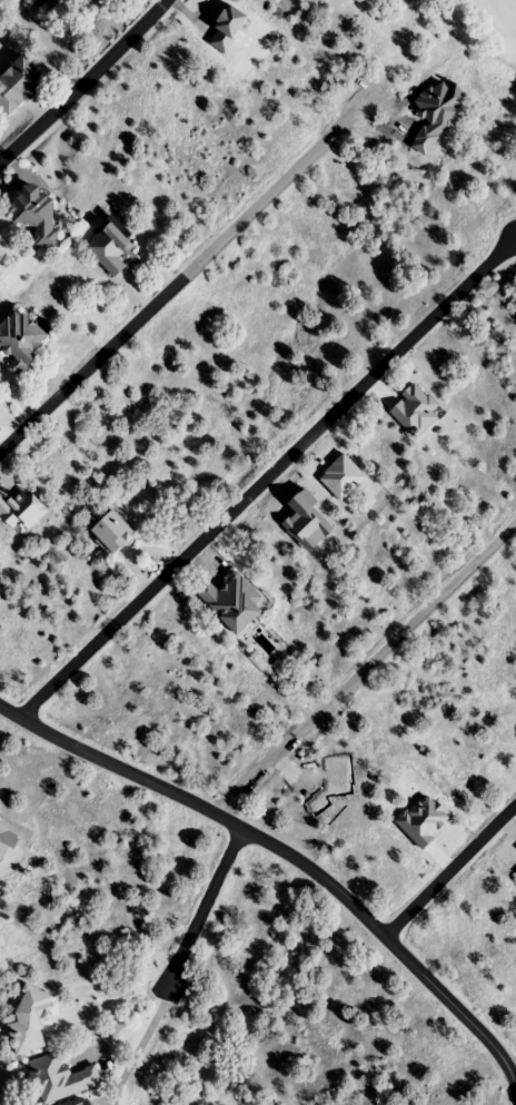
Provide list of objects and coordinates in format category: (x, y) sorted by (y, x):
park: (489, 28)
road: (85, 81)
building: (18, 82)
building: (36, 213)
building: (109, 248)
road: (185, 273)
building: (20, 341)
road: (266, 475)
building: (21, 512)
building: (113, 533)
building: (232, 602)
road: (363, 667)
building: (510, 830)
road: (291, 856)
road: (447, 868)
road: (202, 906)
building: (30, 1020)
road: (512, 1067)
building: (60, 1078)

